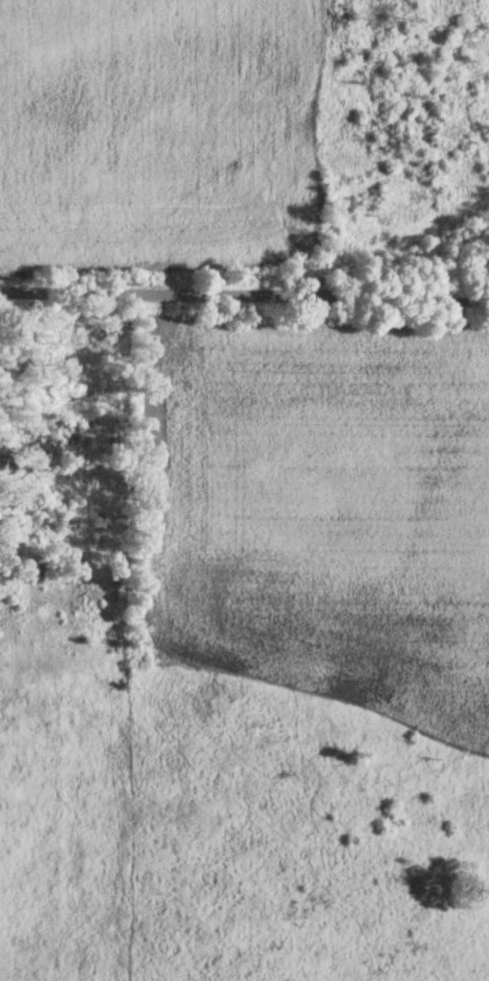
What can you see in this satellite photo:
road: (244, 297)

